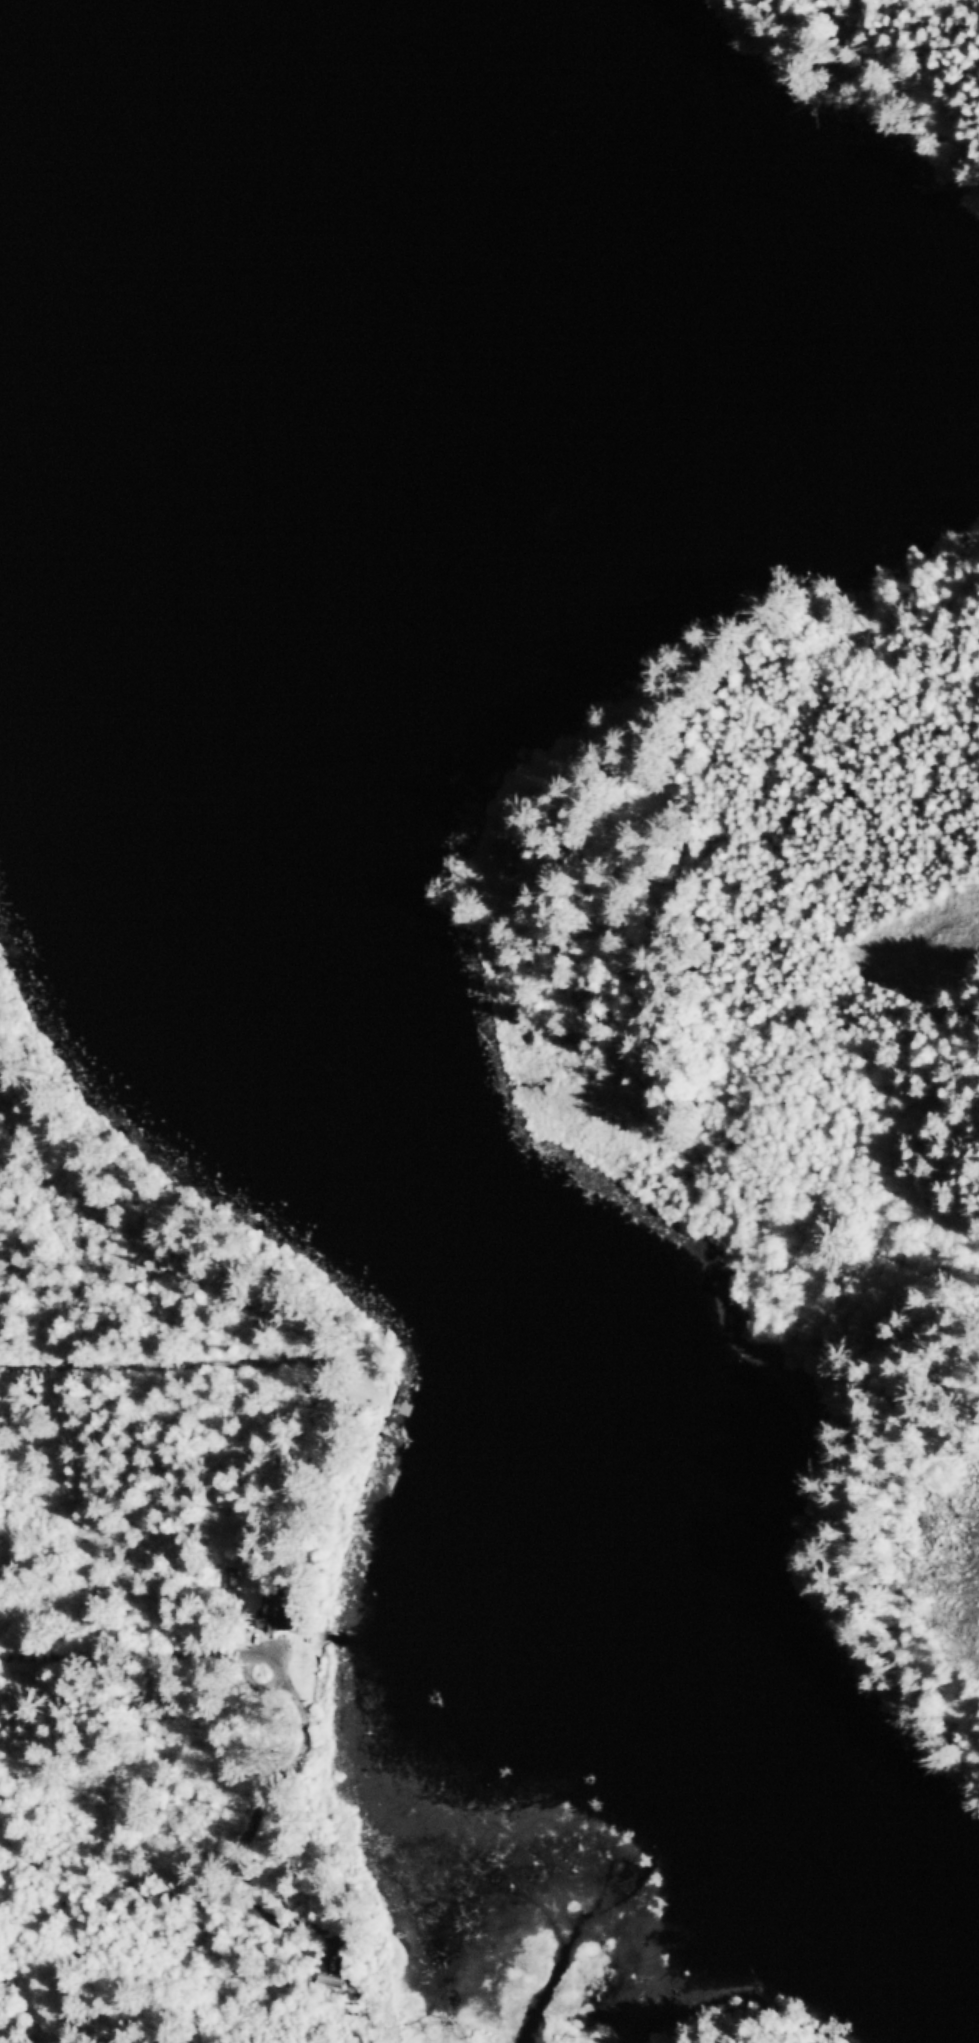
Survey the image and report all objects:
building: (506, 861)
road: (175, 1366)
building: (280, 1610)
road: (122, 1659)

